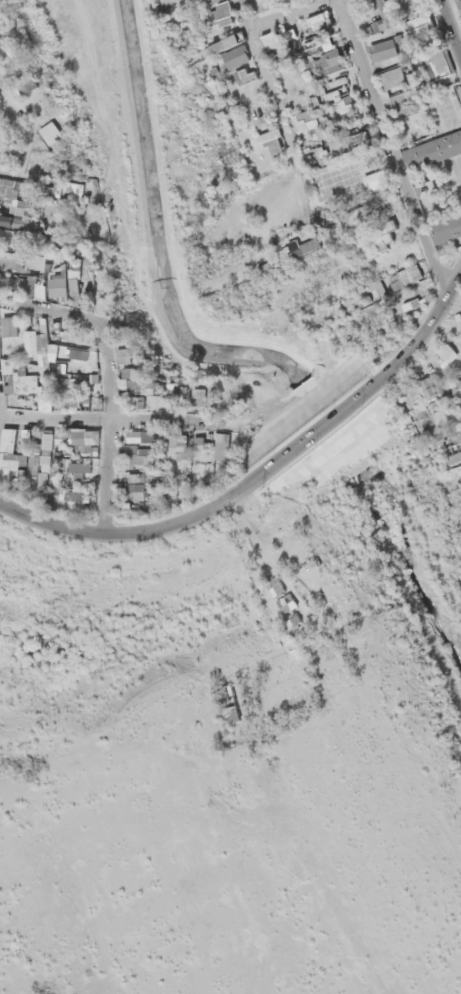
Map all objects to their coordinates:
road: (243, 13)
road: (289, 13)
road: (450, 27)
road: (282, 121)
road: (392, 147)
road: (12, 180)
road: (43, 310)
building: (25, 378)
road: (115, 421)
road: (106, 428)
road: (260, 474)

